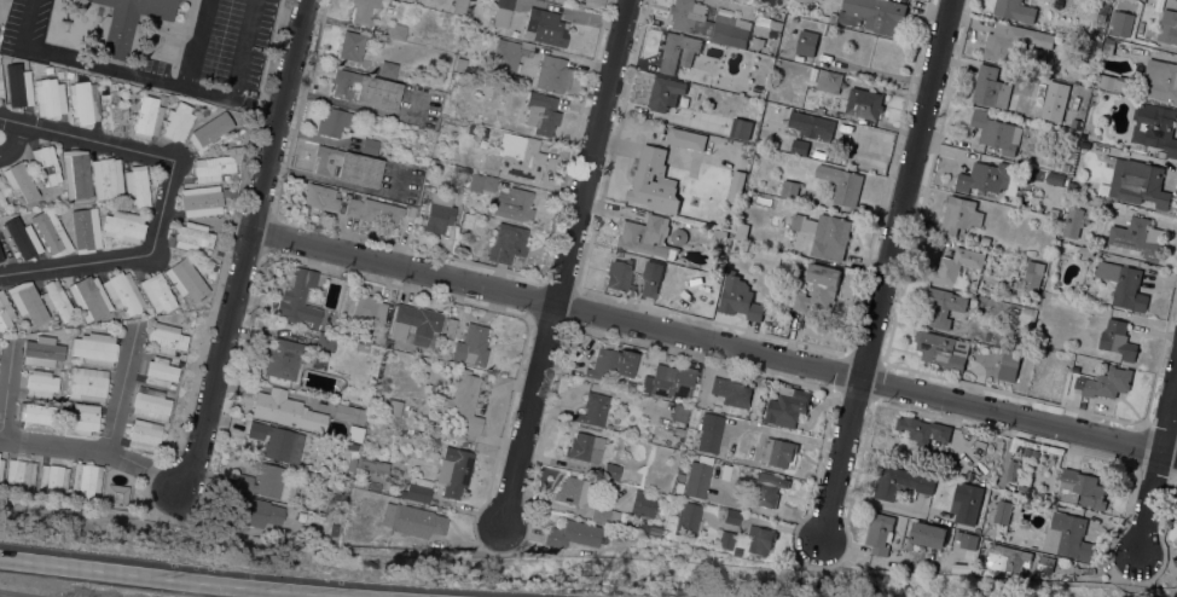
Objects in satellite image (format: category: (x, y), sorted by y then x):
road: (2, 1)
building: (802, 1)
building: (458, 6)
building: (1015, 10)
building: (364, 11)
park: (4, 12)
building: (501, 12)
building: (874, 15)
building: (1101, 15)
building: (829, 17)
building: (1120, 22)
building: (706, 23)
building: (127, 24)
building: (545, 25)
building: (1167, 27)
building: (396, 31)
building: (1013, 41)
building: (807, 42)
building: (350, 45)
building: (1107, 47)
building: (677, 51)
building: (509, 54)
building: (388, 69)
building: (552, 74)
building: (1160, 79)
building: (828, 81)
building: (1108, 81)
building: (1, 85)
building: (17, 86)
road: (189, 86)
building: (991, 87)
building: (366, 88)
building: (756, 88)
building: (665, 92)
building: (50, 97)
building: (83, 102)
building: (864, 103)
building: (112, 108)
building: (541, 112)
building: (147, 117)
building: (178, 121)
building: (334, 121)
building: (1154, 127)
building: (741, 128)
building: (818, 128)
building: (996, 132)
building: (209, 133)
road: (86, 135)
building: (685, 138)
road: (13, 139)
building: (370, 145)
building: (799, 146)
building: (520, 155)
building: (46, 162)
building: (216, 164)
building: (348, 166)
building: (1066, 167)
building: (76, 173)
building: (458, 174)
building: (106, 178)
building: (988, 178)
building: (1055, 179)
building: (21, 180)
building: (654, 181)
building: (481, 182)
building: (841, 182)
building: (1138, 182)
building: (736, 185)
building: (1072, 185)
building: (137, 186)
building: (789, 189)
building: (2, 193)
building: (320, 197)
building: (201, 201)
building: (514, 204)
road: (162, 205)
building: (373, 210)
building: (439, 213)
building: (959, 215)
building: (466, 219)
building: (798, 221)
building: (1072, 221)
building: (123, 225)
building: (85, 230)
building: (52, 234)
building: (192, 236)
building: (645, 236)
building: (1137, 236)
building: (830, 237)
building: (23, 239)
building: (506, 243)
building: (4, 245)
road: (247, 245)
building: (1085, 249)
road: (196, 254)
road: (74, 262)
road: (564, 262)
building: (956, 263)
road: (883, 269)
building: (619, 276)
building: (1032, 276)
building: (185, 278)
road: (219, 278)
building: (990, 284)
building: (1123, 284)
building: (649, 286)
building: (818, 286)
building: (157, 291)
building: (123, 292)
building: (89, 297)
building: (298, 297)
building: (738, 297)
building: (57, 298)
building: (28, 301)
building: (1072, 303)
building: (941, 306)
building: (367, 311)
building: (5, 312)
building: (414, 323)
building: (450, 326)
building: (166, 338)
building: (1117, 338)
building: (324, 342)
building: (388, 342)
building: (475, 343)
road: (713, 344)
building: (361, 346)
building: (94, 348)
building: (41, 349)
building: (372, 349)
building: (941, 349)
building: (284, 359)
building: (1002, 361)
building: (603, 363)
building: (160, 371)
building: (672, 381)
building: (1108, 382)
building: (40, 383)
building: (88, 383)
building: (630, 386)
building: (731, 392)
road: (120, 393)
building: (463, 401)
building: (65, 402)
building: (150, 404)
building: (787, 406)
building: (592, 407)
building: (714, 407)
building: (393, 408)
building: (285, 410)
building: (680, 413)
building: (355, 415)
building: (36, 416)
building: (80, 418)
building: (922, 429)
building: (678, 430)
building: (354, 433)
building: (709, 433)
building: (144, 435)
building: (277, 441)
building: (350, 446)
building: (585, 447)
building: (1027, 450)
road: (98, 451)
building: (777, 451)
building: (1034, 452)
road: (1155, 462)
building: (349, 463)
building: (372, 464)
building: (1, 468)
building: (1013, 469)
building: (453, 470)
building: (610, 470)
building: (21, 477)
building: (53, 479)
building: (86, 479)
building: (697, 479)
building: (900, 481)
building: (267, 482)
building: (359, 482)
building: (373, 486)
building: (765, 488)
building: (1080, 488)
building: (570, 489)
building: (1027, 489)
building: (416, 492)
building: (117, 494)
building: (1002, 494)
building: (324, 498)
building: (966, 502)
building: (643, 504)
road: (81, 506)
building: (353, 506)
building: (929, 508)
building: (291, 511)
building: (1002, 511)
building: (257, 512)
building: (604, 515)
building: (731, 516)
building: (688, 517)
building: (412, 520)
building: (572, 533)
building: (879, 533)
building: (928, 534)
building: (1067, 537)
building: (760, 538)
building: (725, 539)
building: (966, 539)
building: (1008, 558)
building: (1044, 562)
road: (173, 580)

